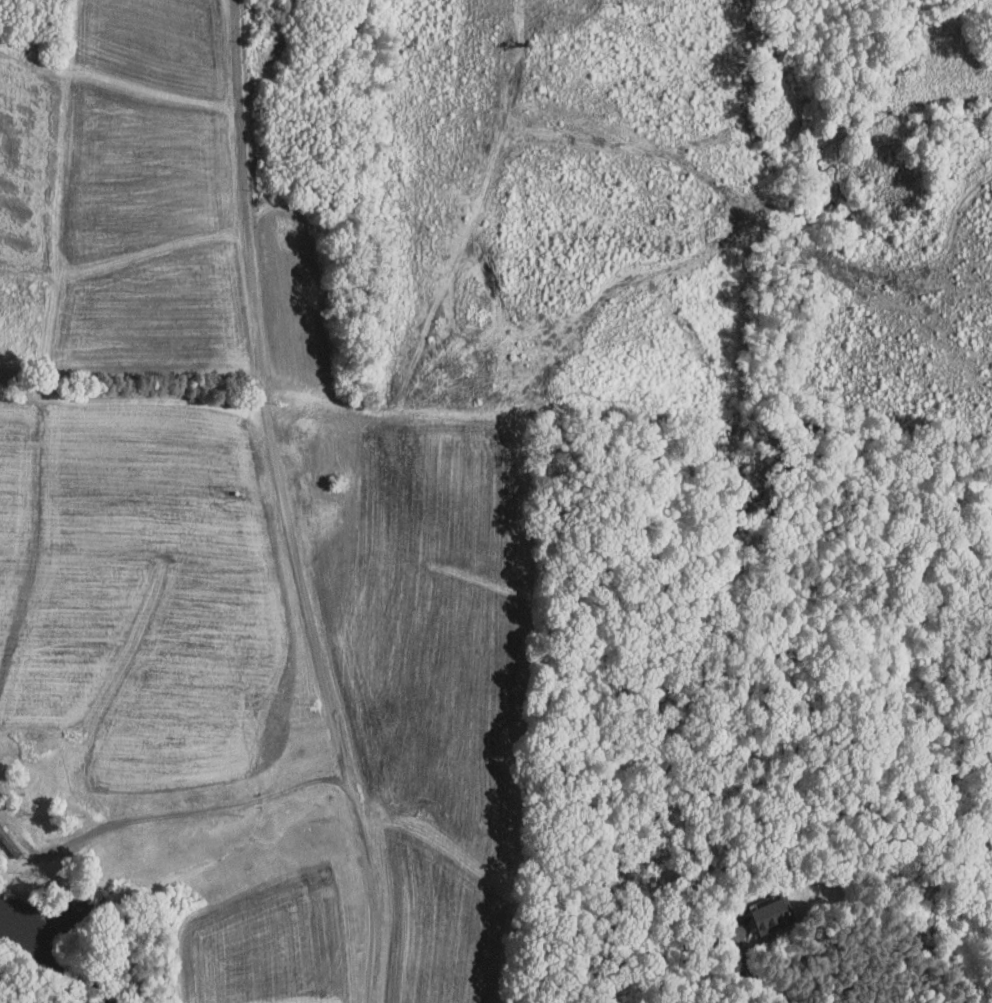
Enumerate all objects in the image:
road: (283, 505)
road: (193, 812)
building: (760, 908)
road: (769, 983)

